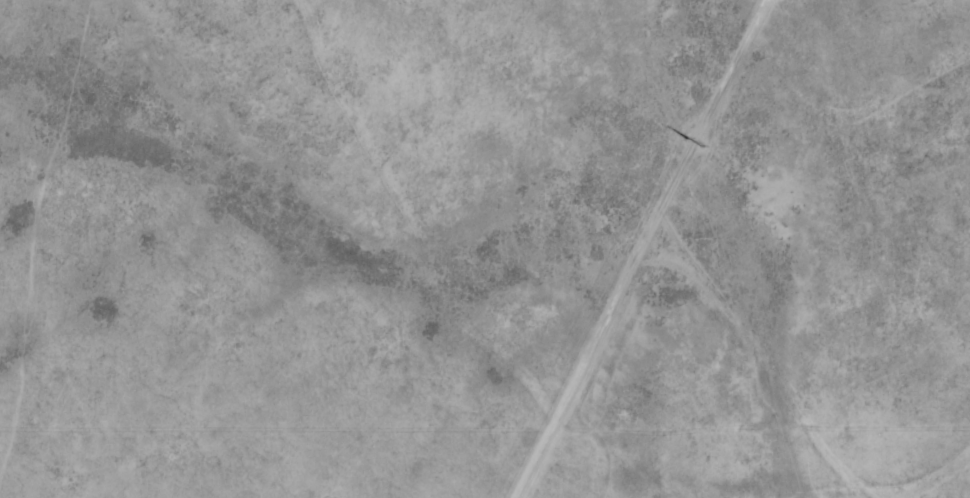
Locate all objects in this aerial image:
power tower: (693, 142)

